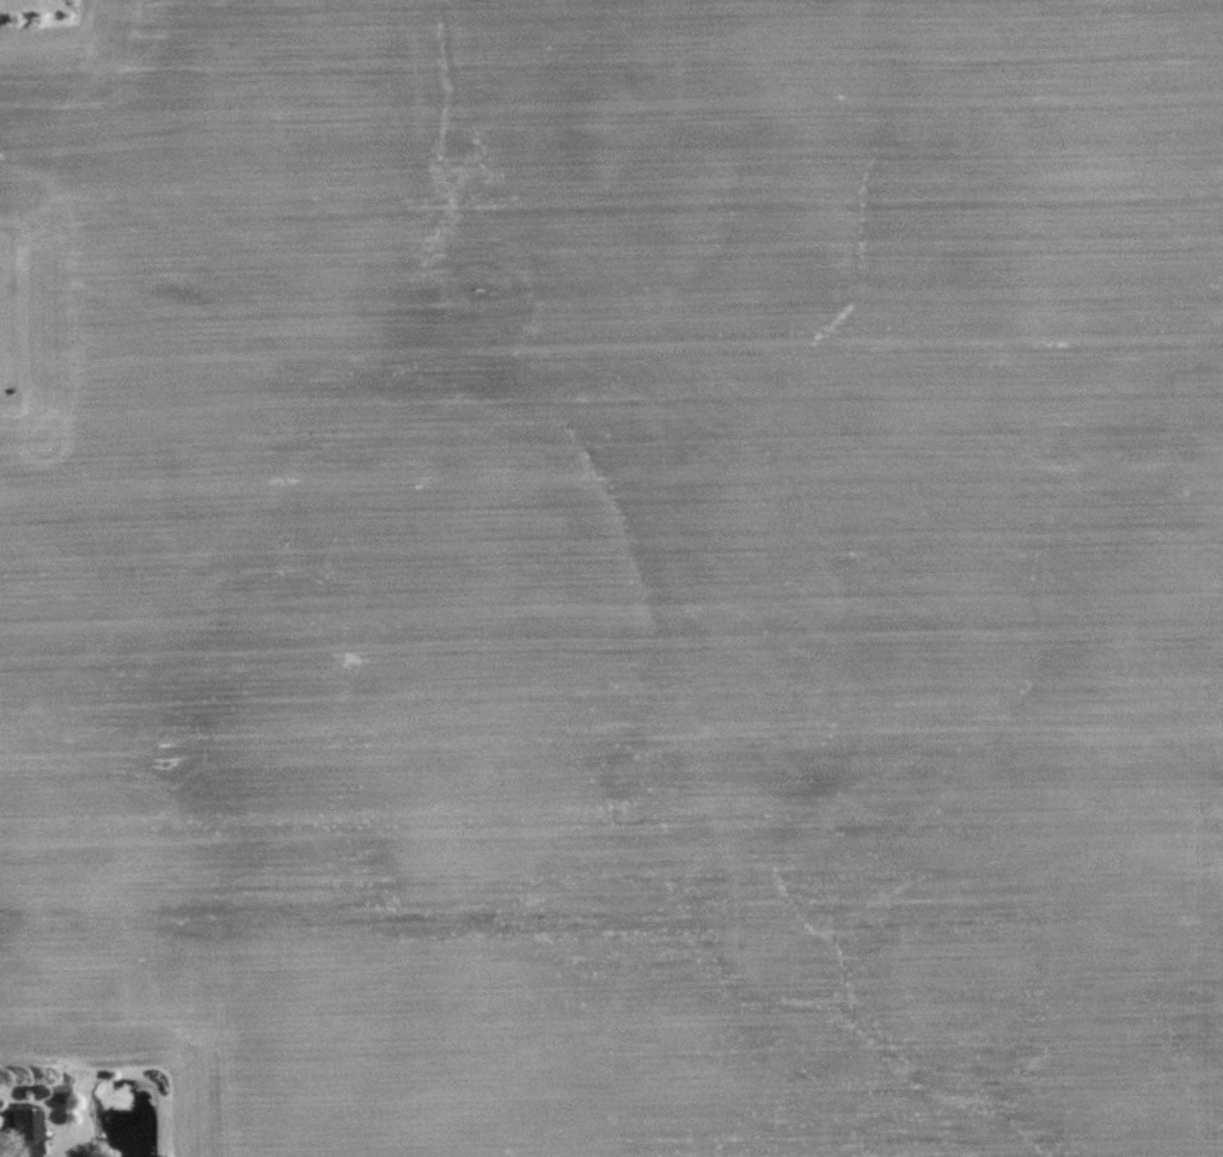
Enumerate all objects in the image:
building: (20, 1131)

